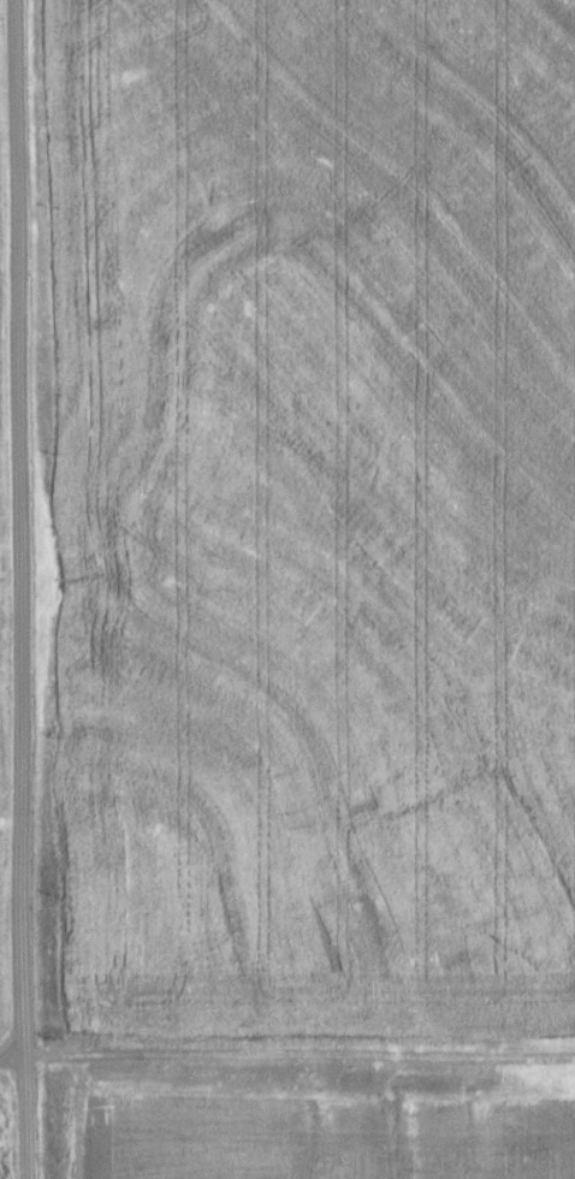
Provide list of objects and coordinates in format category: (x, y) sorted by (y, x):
road: (28, 588)
road: (16, 1062)
crop: (325, 1139)

